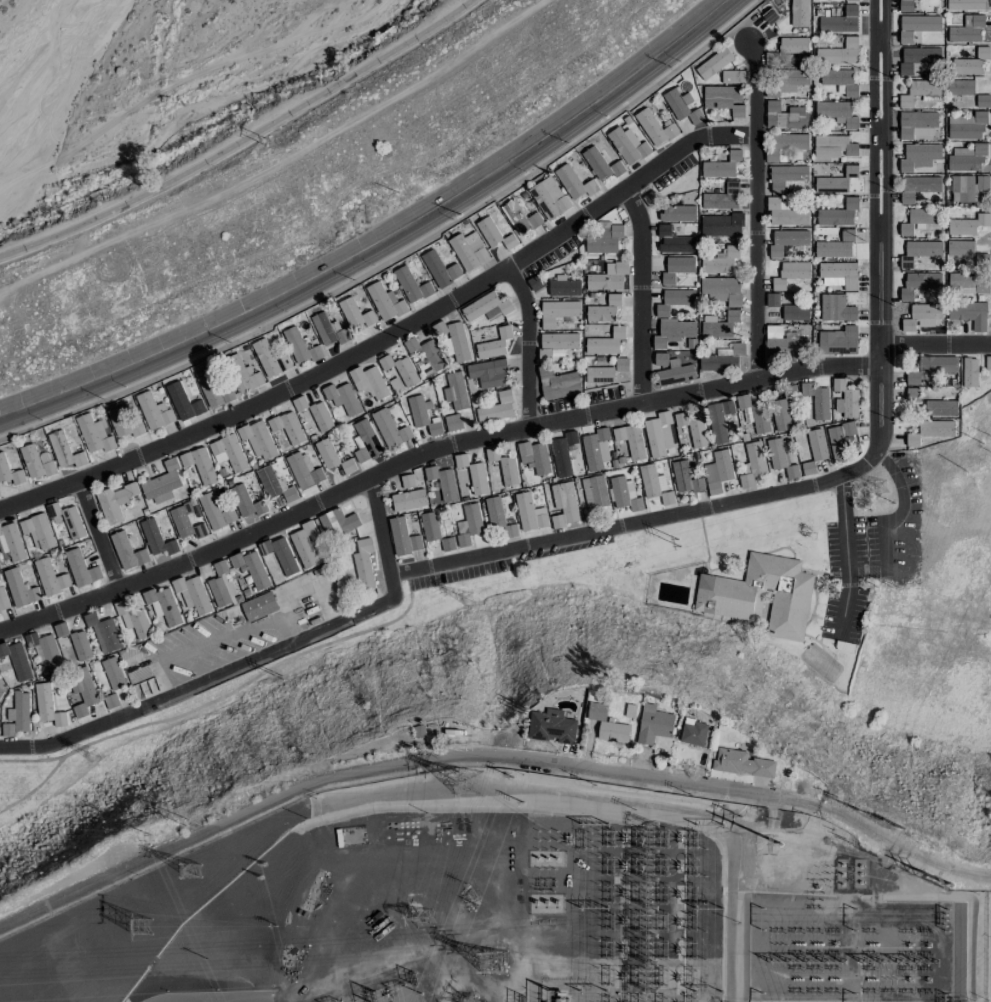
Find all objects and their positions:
building: (850, 0)
building: (964, 4)
building: (905, 5)
building: (799, 13)
building: (840, 21)
building: (917, 25)
building: (967, 30)
building: (792, 47)
building: (839, 53)
building: (917, 58)
building: (713, 63)
building: (974, 63)
building: (732, 76)
building: (791, 79)
building: (840, 81)
road: (761, 83)
building: (960, 86)
building: (919, 90)
building: (724, 99)
building: (982, 100)
building: (681, 105)
building: (837, 113)
building: (786, 116)
building: (914, 122)
building: (685, 124)
building: (966, 125)
building: (654, 128)
road: (241, 139)
building: (789, 141)
building: (628, 142)
road: (683, 145)
building: (834, 146)
building: (918, 154)
building: (966, 157)
building: (601, 164)
building: (721, 166)
building: (787, 178)
road: (879, 178)
building: (573, 183)
building: (918, 186)
building: (961, 188)
building: (548, 198)
building: (722, 198)
building: (785, 212)
building: (677, 213)
building: (838, 214)
building: (520, 218)
building: (920, 218)
building: (721, 225)
building: (968, 225)
building: (494, 234)
road: (380, 238)
building: (604, 239)
building: (786, 240)
building: (674, 241)
building: (835, 246)
building: (959, 247)
building: (918, 251)
building: (469, 254)
road: (755, 256)
building: (981, 259)
building: (721, 261)
building: (676, 268)
building: (439, 269)
building: (790, 273)
building: (838, 274)
building: (607, 277)
building: (968, 280)
building: (919, 284)
building: (411, 285)
building: (563, 287)
building: (722, 289)
road: (640, 293)
building: (674, 301)
building: (385, 302)
building: (486, 307)
building: (836, 308)
building: (604, 310)
building: (557, 311)
building: (795, 312)
building: (356, 313)
building: (969, 313)
building: (732, 315)
building: (920, 315)
building: (715, 327)
building: (328, 330)
building: (673, 331)
building: (773, 331)
building: (452, 338)
building: (838, 340)
building: (605, 342)
road: (527, 343)
building: (494, 344)
building: (796, 345)
road: (932, 345)
building: (300, 346)
building: (270, 356)
building: (425, 356)
building: (723, 358)
road: (318, 360)
building: (932, 367)
building: (671, 370)
building: (488, 372)
building: (606, 372)
building: (969, 372)
building: (398, 373)
building: (242, 374)
building: (369, 381)
building: (211, 385)
building: (454, 390)
building: (790, 391)
building: (817, 399)
building: (844, 399)
building: (340, 400)
building: (186, 405)
building: (496, 407)
building: (940, 407)
building: (154, 411)
building: (423, 415)
building: (779, 415)
building: (320, 416)
building: (752, 417)
building: (719, 420)
building: (453, 422)
building: (124, 423)
building: (287, 427)
building: (390, 428)
building: (693, 429)
building: (930, 431)
building: (656, 433)
building: (94, 434)
building: (258, 439)
building: (840, 439)
building: (365, 442)
building: (813, 444)
building: (613, 447)
building: (64, 451)
road: (427, 451)
building: (228, 452)
building: (562, 452)
building: (327, 453)
building: (534, 456)
building: (782, 457)
building: (36, 462)
building: (752, 464)
building: (200, 465)
building: (348, 466)
building: (502, 468)
building: (808, 468)
building: (10, 469)
building: (303, 470)
building: (718, 471)
building: (471, 475)
building: (685, 478)
building: (430, 481)
building: (162, 482)
power tower: (878, 483)
building: (654, 484)
building: (274, 485)
building: (594, 491)
building: (624, 494)
building: (115, 502)
building: (246, 502)
building: (563, 504)
building: (494, 511)
building: (215, 512)
road: (681, 512)
building: (530, 513)
building: (588, 513)
building: (67, 520)
building: (188, 520)
building: (335, 523)
building: (469, 524)
building: (430, 526)
building: (39, 530)
building: (511, 530)
road: (98, 534)
building: (403, 537)
building: (155, 538)
building: (11, 544)
building: (304, 544)
building: (448, 544)
building: (127, 551)
road: (845, 551)
building: (280, 555)
building: (363, 565)
building: (220, 567)
building: (81, 568)
building: (252, 568)
building: (50, 577)
building: (20, 588)
building: (218, 592)
building: (192, 593)
building: (758, 594)
building: (3, 600)
building: (163, 605)
building: (259, 606)
building: (133, 619)
building: (103, 632)
building: (75, 641)
building: (46, 650)
road: (273, 651)
building: (16, 660)
building: (7, 672)
building: (114, 673)
building: (1, 692)
building: (85, 693)
building: (47, 705)
building: (630, 711)
building: (17, 716)
building: (607, 722)
building: (654, 722)
building: (550, 724)
building: (692, 729)
road: (18, 747)
building: (741, 761)
road: (394, 764)
power tower: (468, 786)
road: (901, 847)
power tower: (771, 861)
power tower: (264, 863)
power tower: (193, 869)
road: (896, 876)
power tower: (259, 877)
power substation: (511, 906)
power tower: (422, 920)
power tower: (140, 922)
power tower: (492, 960)
power tower: (466, 1000)
road: (176, 1001)

